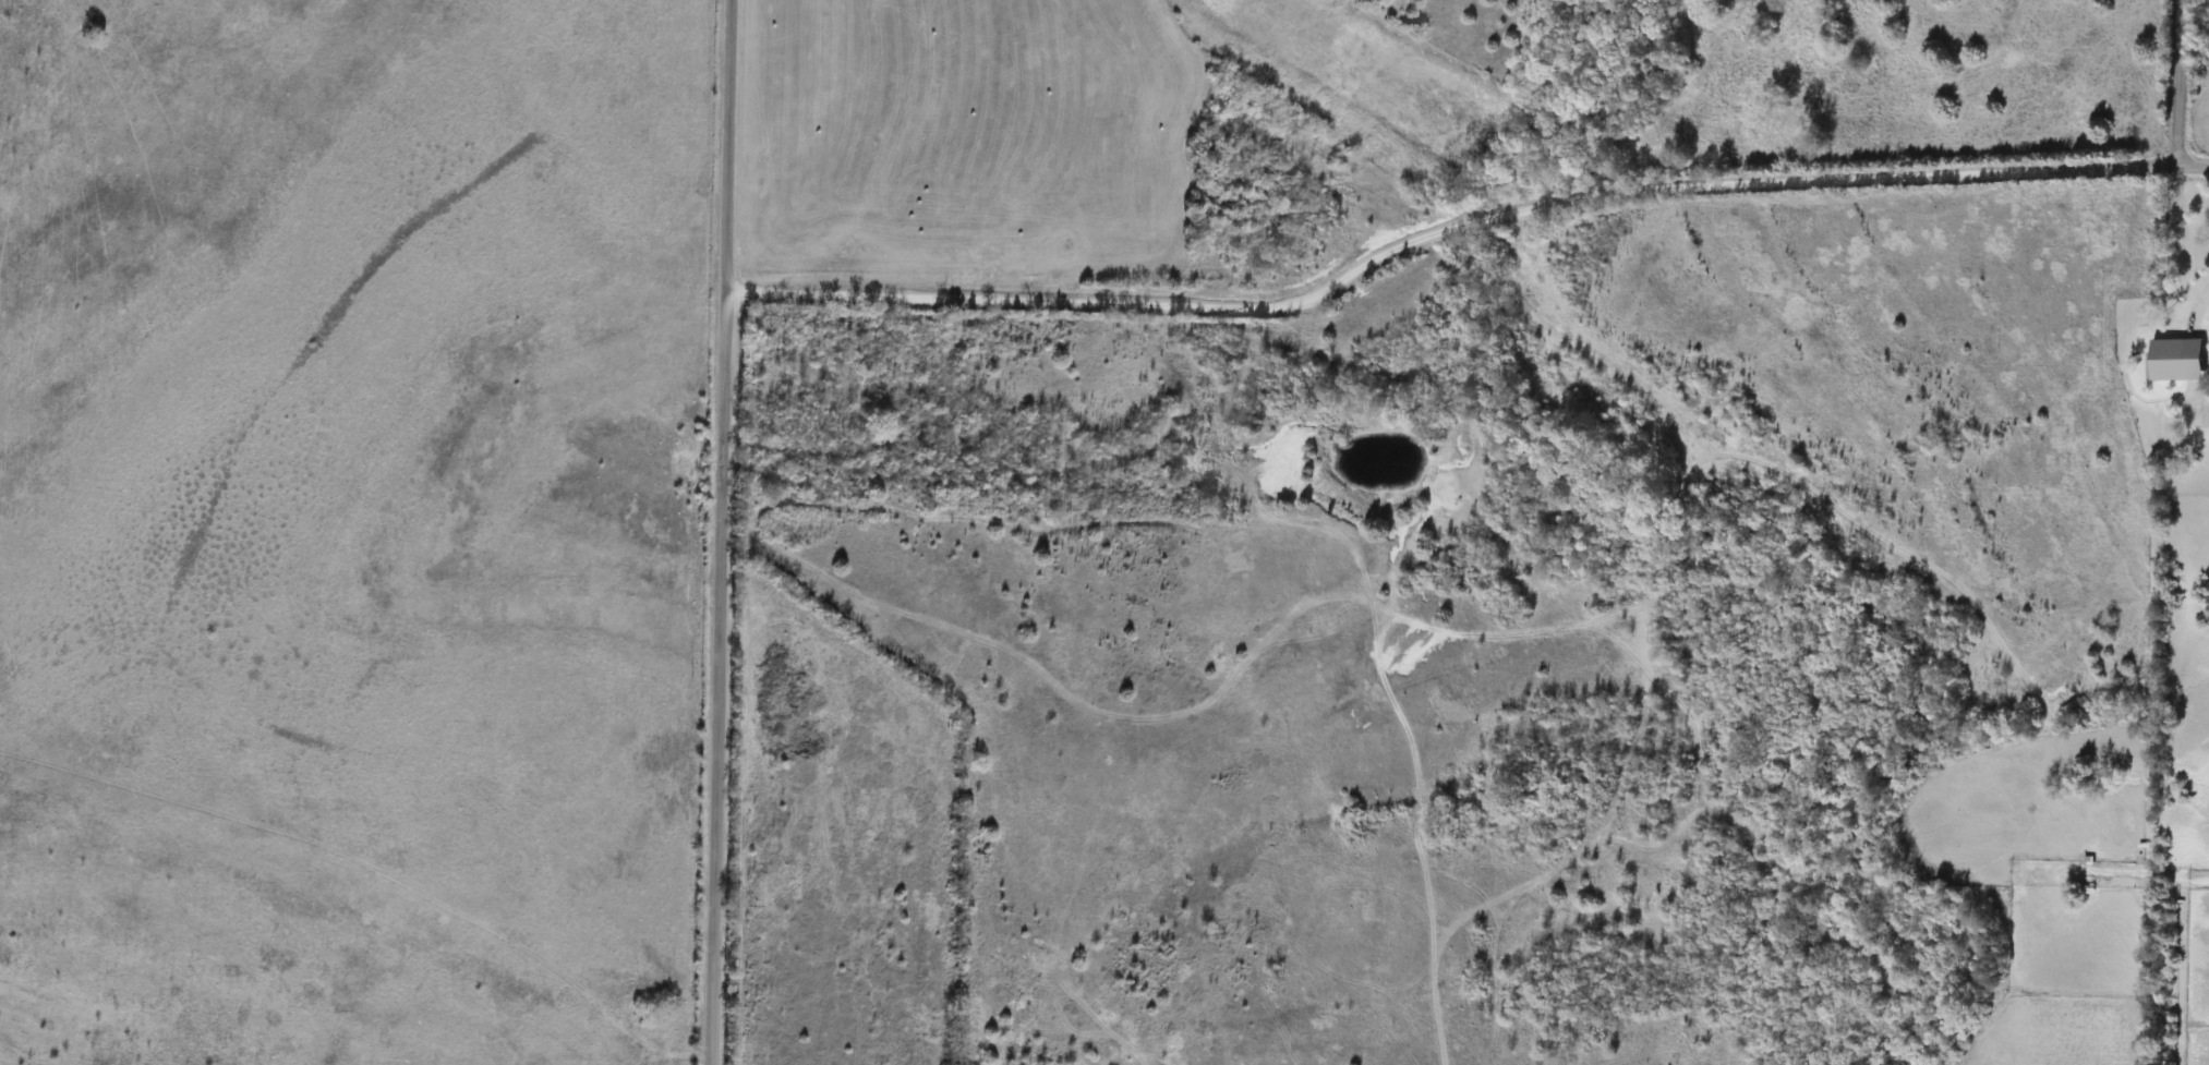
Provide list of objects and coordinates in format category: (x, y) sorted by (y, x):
road: (2181, 82)
road: (1458, 223)
building: (2173, 359)
road: (721, 532)

